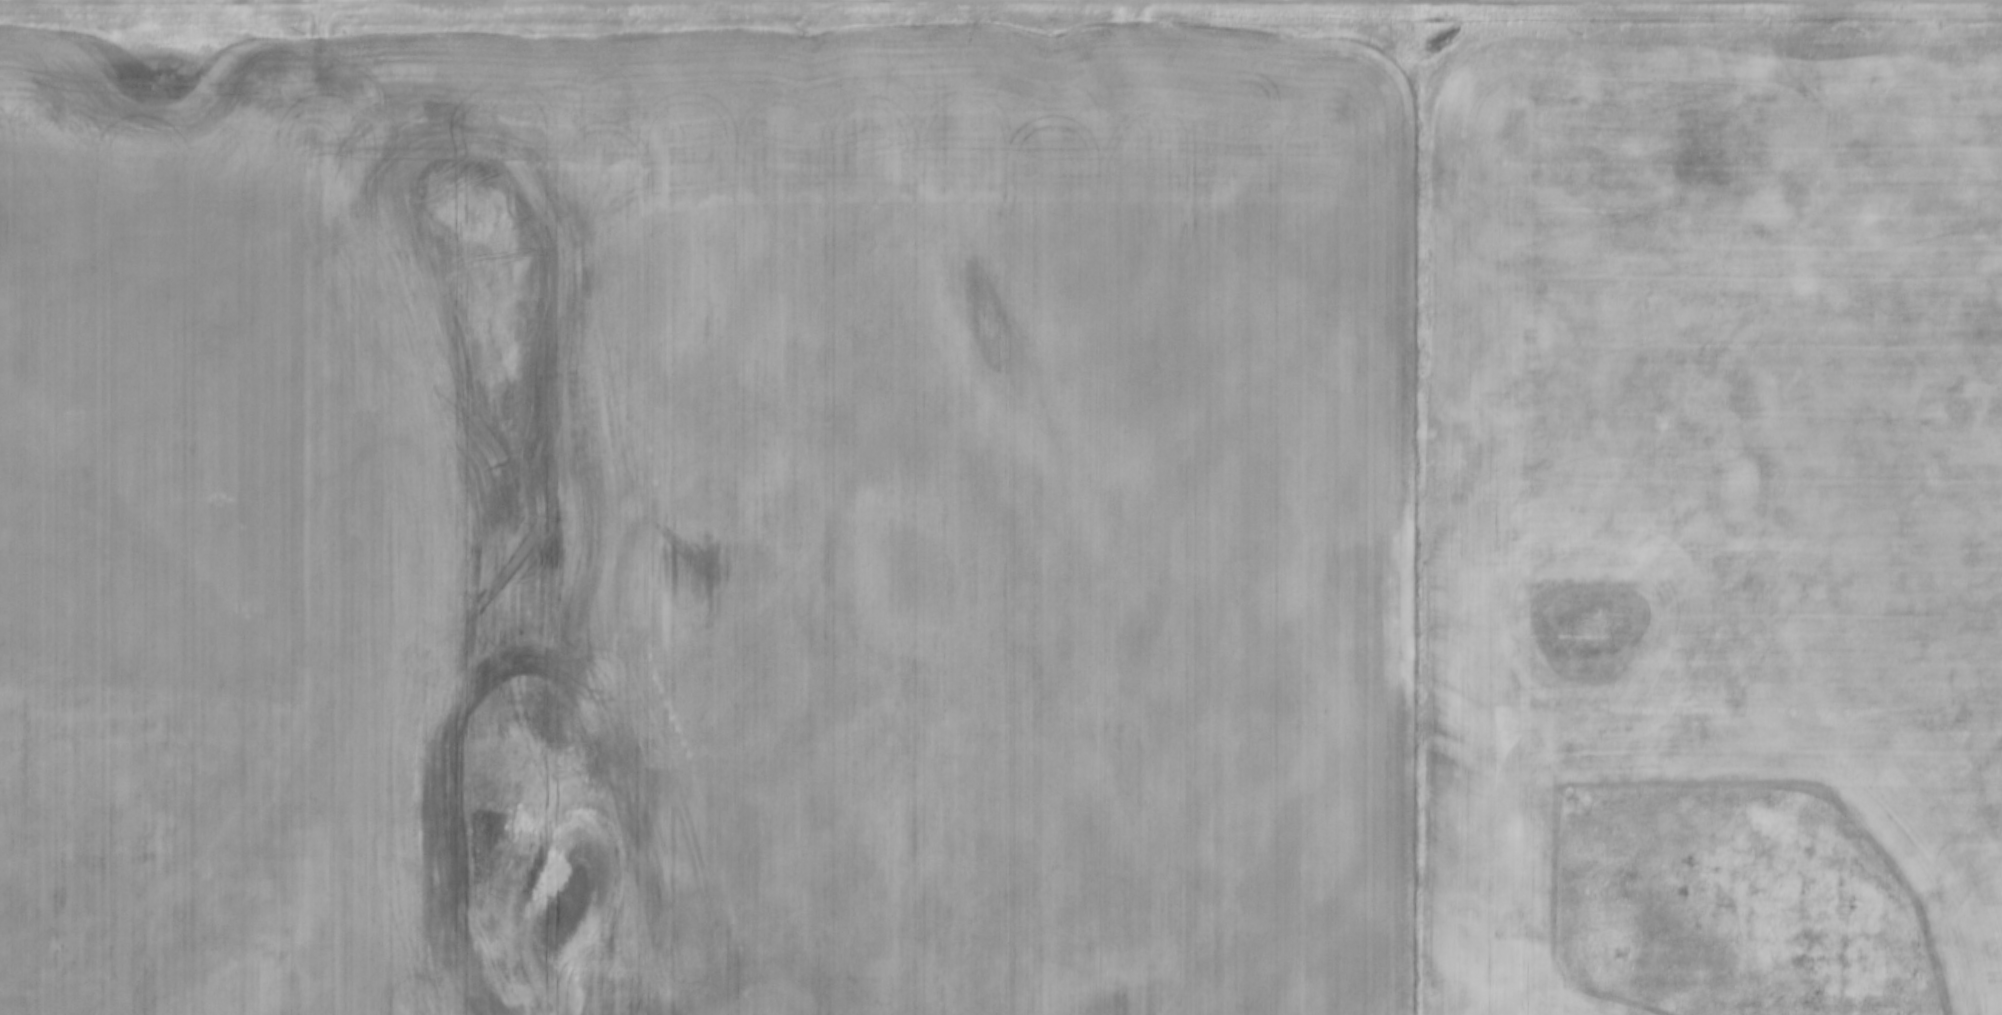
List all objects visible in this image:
road: (223, 1)

